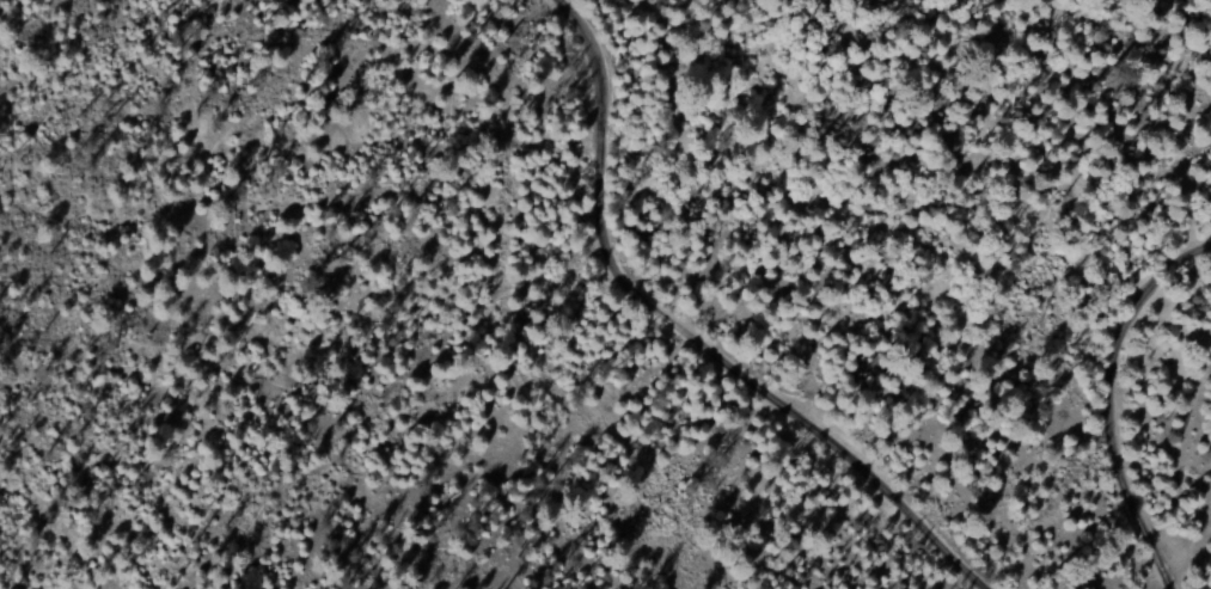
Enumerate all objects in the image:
road: (691, 330)
road: (1103, 397)

